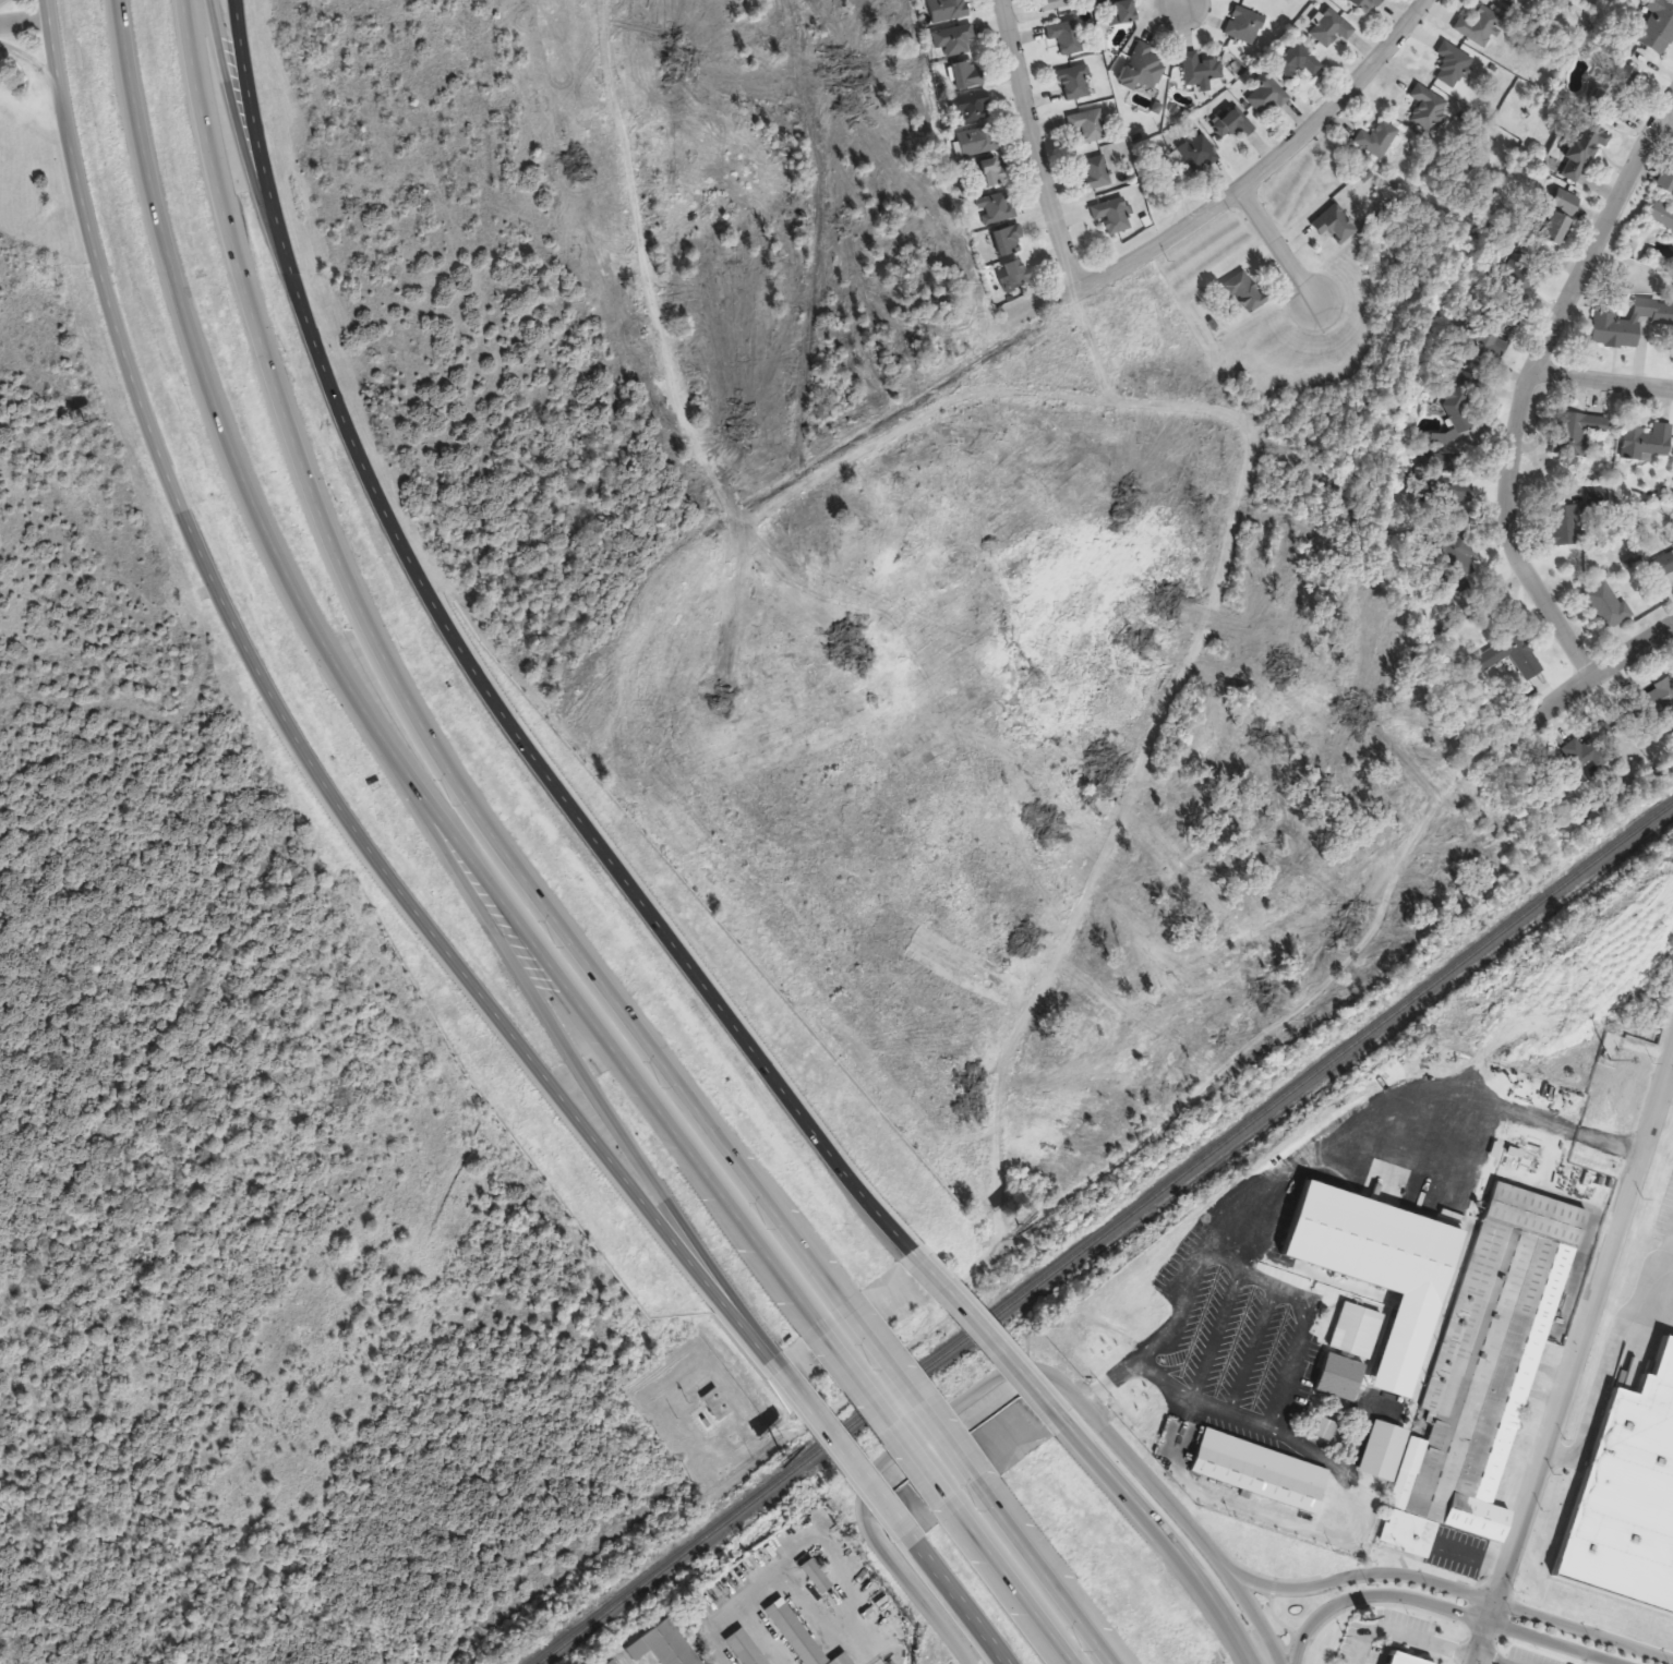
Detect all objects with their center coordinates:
building: (1507, 1)
road: (1176, 2)
building: (1055, 4)
building: (1365, 4)
building: (948, 10)
building: (1123, 12)
road: (22, 25)
building: (1244, 25)
building: (1479, 26)
building: (1657, 26)
building: (1332, 28)
building: (1067, 37)
building: (954, 40)
building: (1298, 62)
building: (1453, 65)
building: (1144, 69)
building: (1201, 71)
building: (967, 74)
building: (1075, 83)
building: (1616, 89)
building: (1267, 96)
building: (972, 107)
building: (1428, 108)
road: (1665, 123)
building: (1233, 124)
building: (1090, 125)
building: (1377, 138)
building: (979, 141)
road: (260, 144)
road: (244, 145)
road: (1035, 145)
building: (1584, 149)
building: (1196, 154)
building: (992, 172)
building: (1095, 173)
building: (997, 208)
building: (1669, 210)
building: (1112, 215)
building: (1560, 217)
building: (1335, 226)
building: (1009, 241)
road: (1276, 246)
road: (1121, 265)
building: (1520, 275)
building: (1010, 276)
building: (1244, 291)
building: (1630, 324)
road: (108, 325)
building: (1499, 349)
road: (1528, 381)
road: (1602, 381)
building: (1457, 407)
road: (352, 430)
building: (1579, 434)
building: (1647, 442)
road: (1010, 466)
road: (1127, 527)
building: (1566, 527)
road: (820, 534)
building: (1458, 562)
building: (1664, 564)
building: (1606, 605)
building: (1512, 656)
road: (1275, 678)
building: (1652, 700)
road: (408, 703)
road: (364, 711)
building: (1591, 751)
road: (1359, 859)
road: (654, 917)
road: (488, 1005)
road: (585, 1069)
road: (1558, 1193)
railway: (1103, 1232)
road: (1608, 1247)
road: (989, 1339)
road: (1279, 1352)
building: (1349, 1352)
road: (1609, 1364)
building: (1482, 1368)
road: (1020, 1370)
road: (917, 1394)
building: (718, 1404)
road: (889, 1415)
road: (844, 1451)
building: (1261, 1471)
building: (1633, 1523)
road: (1164, 1541)
road: (1508, 1556)
road: (1052, 1573)
building: (817, 1576)
road: (1015, 1587)
road: (1455, 1589)
road: (962, 1603)
road: (1441, 1607)
building: (801, 1635)
building: (665, 1645)
building: (747, 1648)
road: (1490, 1660)
building: (614, 1662)

